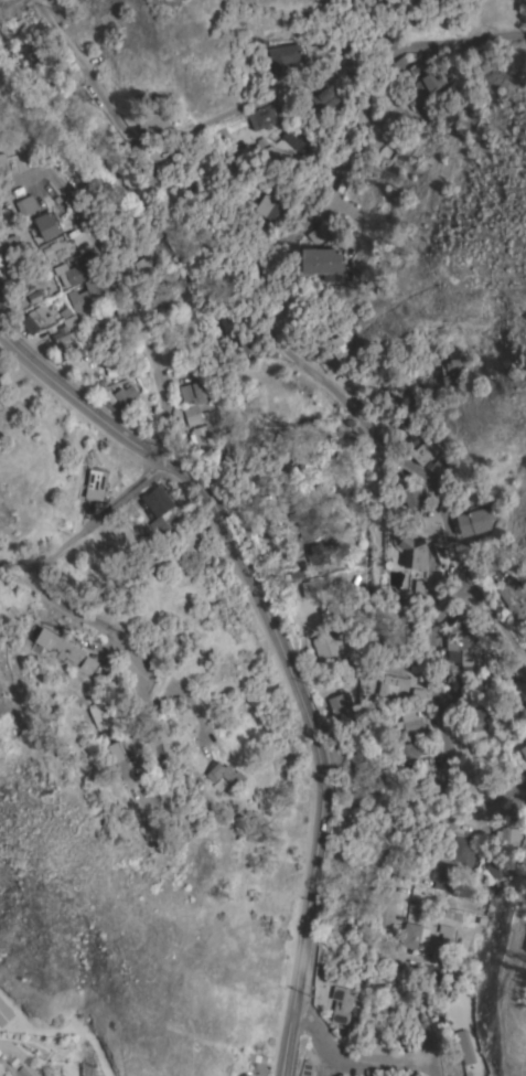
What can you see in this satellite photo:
road: (8, 7)
park: (408, 17)
road: (354, 21)
road: (331, 41)
road: (455, 42)
road: (359, 43)
building: (40, 55)
building: (286, 57)
building: (401, 64)
building: (429, 84)
building: (323, 97)
building: (262, 116)
road: (362, 119)
building: (154, 121)
building: (222, 135)
road: (172, 136)
road: (161, 142)
road: (164, 151)
building: (3, 163)
building: (82, 173)
building: (147, 178)
building: (249, 188)
building: (25, 204)
building: (272, 205)
building: (46, 224)
building: (318, 234)
road: (107, 252)
building: (321, 260)
building: (12, 265)
building: (146, 269)
building: (76, 271)
road: (271, 294)
building: (89, 295)
building: (39, 318)
building: (65, 330)
building: (246, 342)
building: (343, 345)
building: (2, 366)
building: (452, 372)
building: (191, 384)
building: (394, 391)
building: (126, 393)
building: (193, 415)
road: (158, 420)
building: (415, 434)
building: (203, 437)
building: (421, 454)
road: (482, 457)
building: (286, 473)
road: (420, 475)
building: (95, 484)
building: (411, 494)
building: (289, 503)
building: (158, 507)
building: (308, 519)
building: (475, 521)
building: (321, 551)
building: (410, 554)
building: (514, 596)
building: (310, 598)
road: (77, 612)
building: (465, 619)
road: (497, 621)
building: (328, 647)
building: (466, 647)
building: (62, 649)
road: (281, 649)
building: (88, 664)
building: (393, 686)
building: (419, 692)
building: (340, 702)
road: (170, 713)
building: (99, 716)
building: (477, 718)
building: (412, 722)
building: (524, 741)
building: (411, 753)
building: (523, 754)
building: (122, 764)
building: (222, 773)
road: (486, 806)
building: (507, 834)
road: (433, 838)
building: (463, 850)
building: (496, 866)
building: (444, 874)
building: (444, 925)
building: (415, 935)
building: (342, 1003)
building: (4, 1012)
building: (462, 1047)
road: (22, 1057)
road: (350, 1058)
road: (329, 1062)
building: (305, 1067)
building: (259, 1068)

